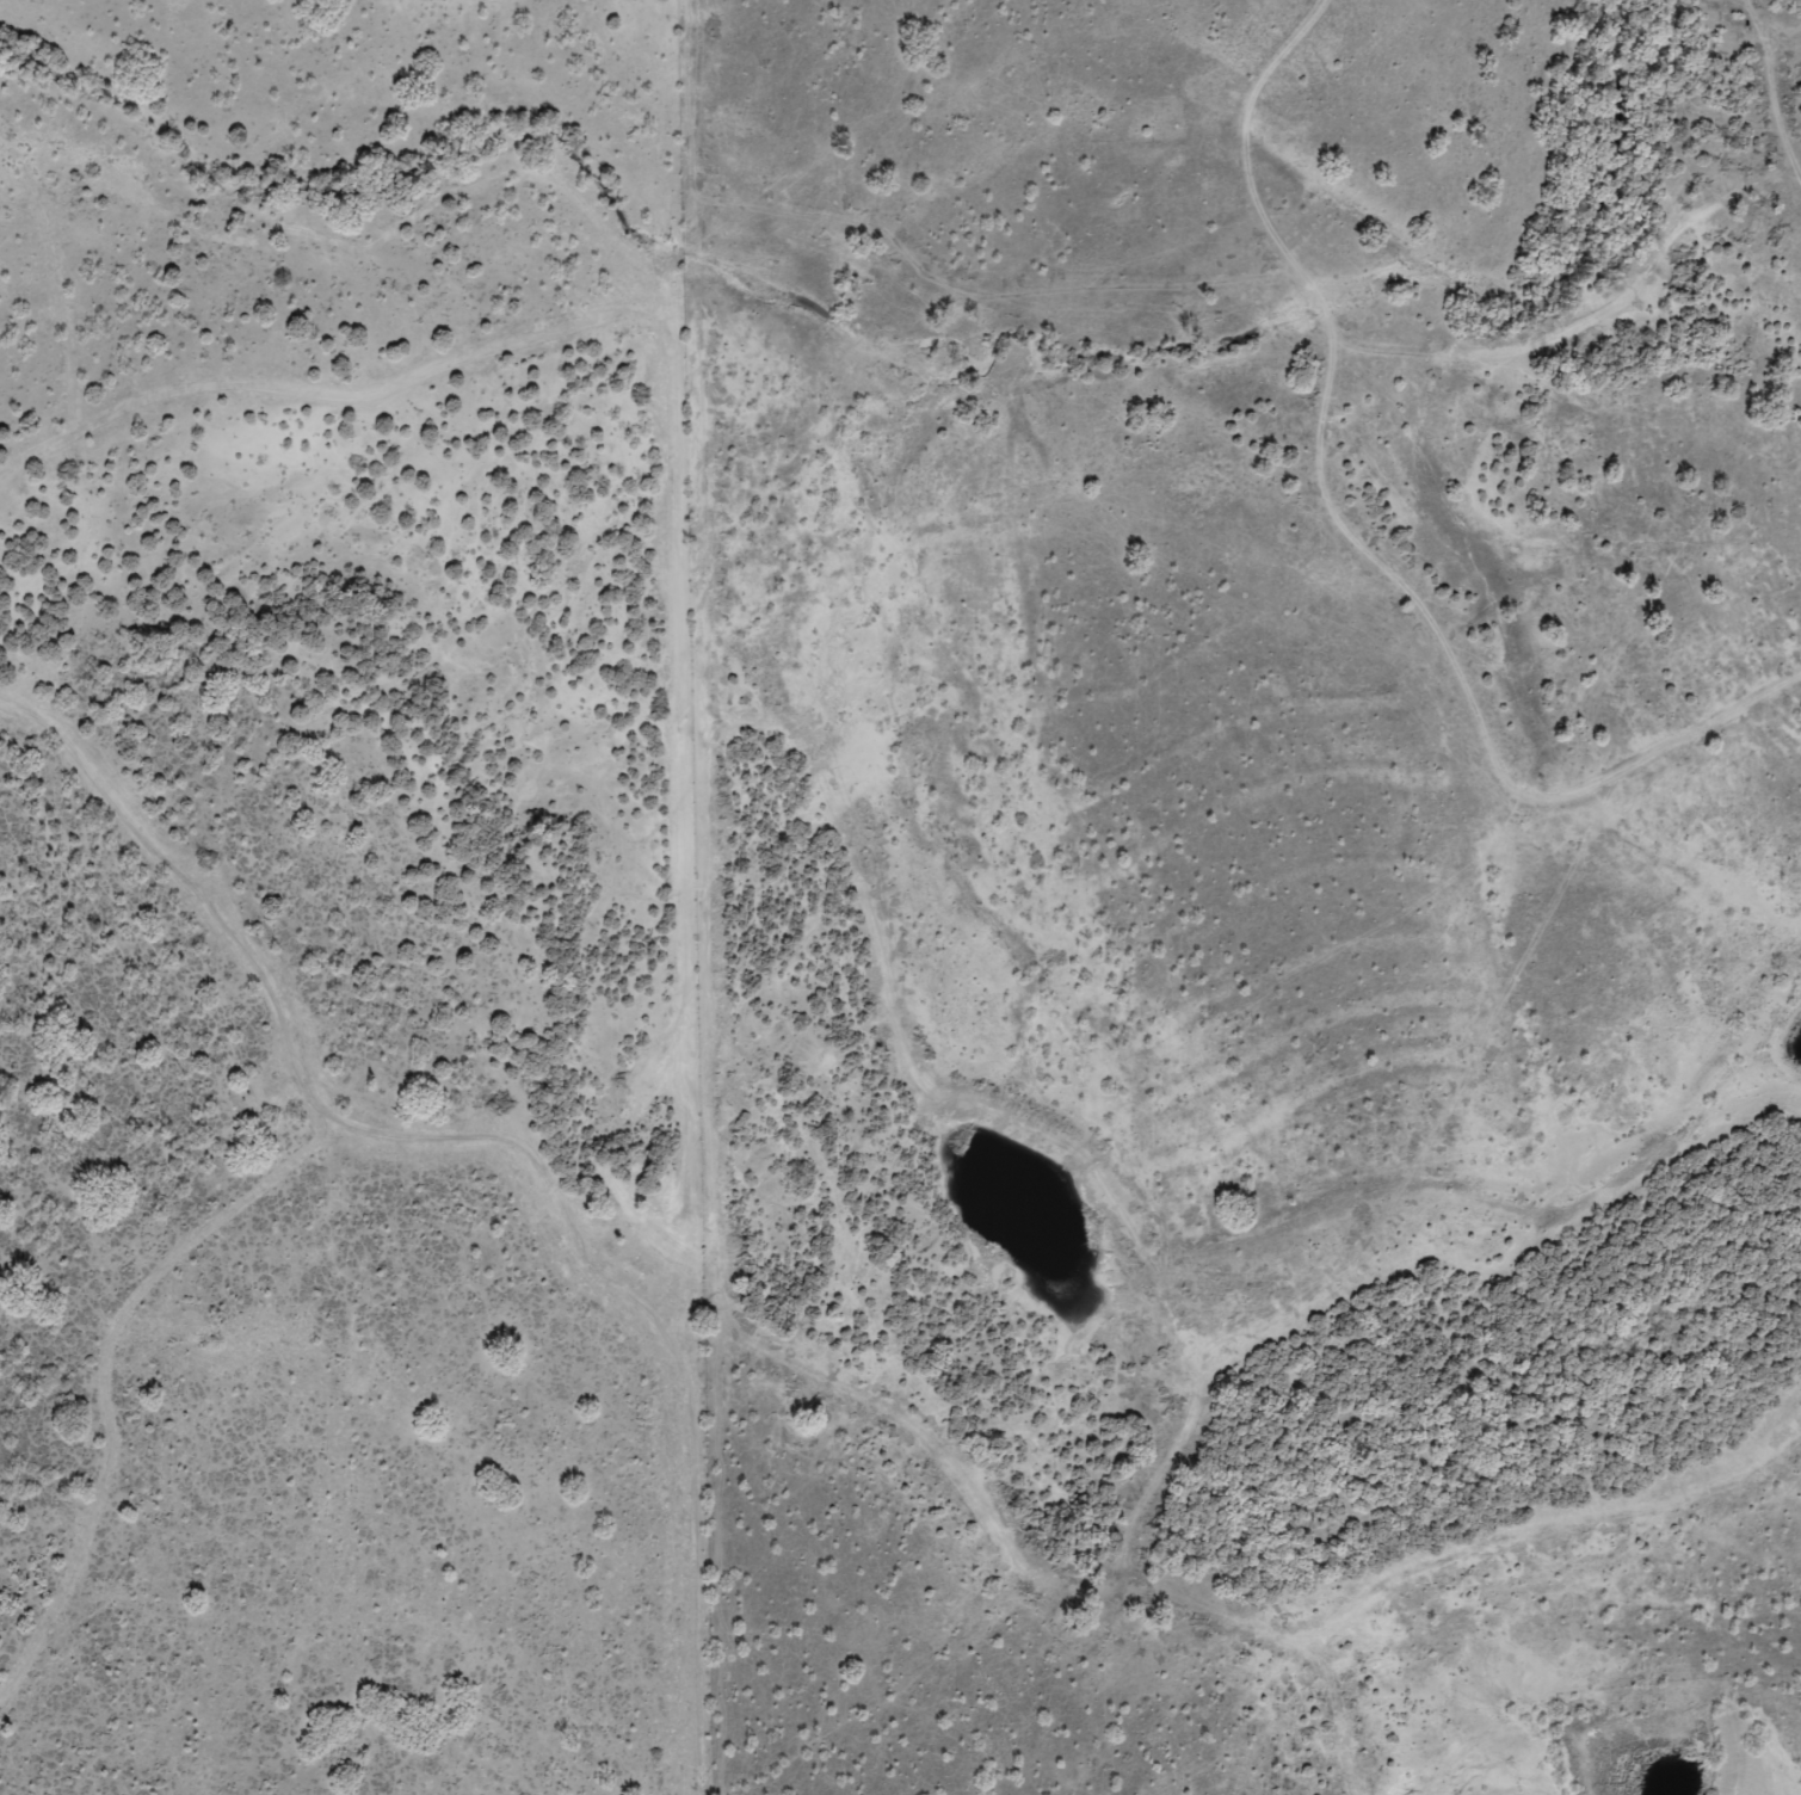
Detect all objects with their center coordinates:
road: (1342, 580)

